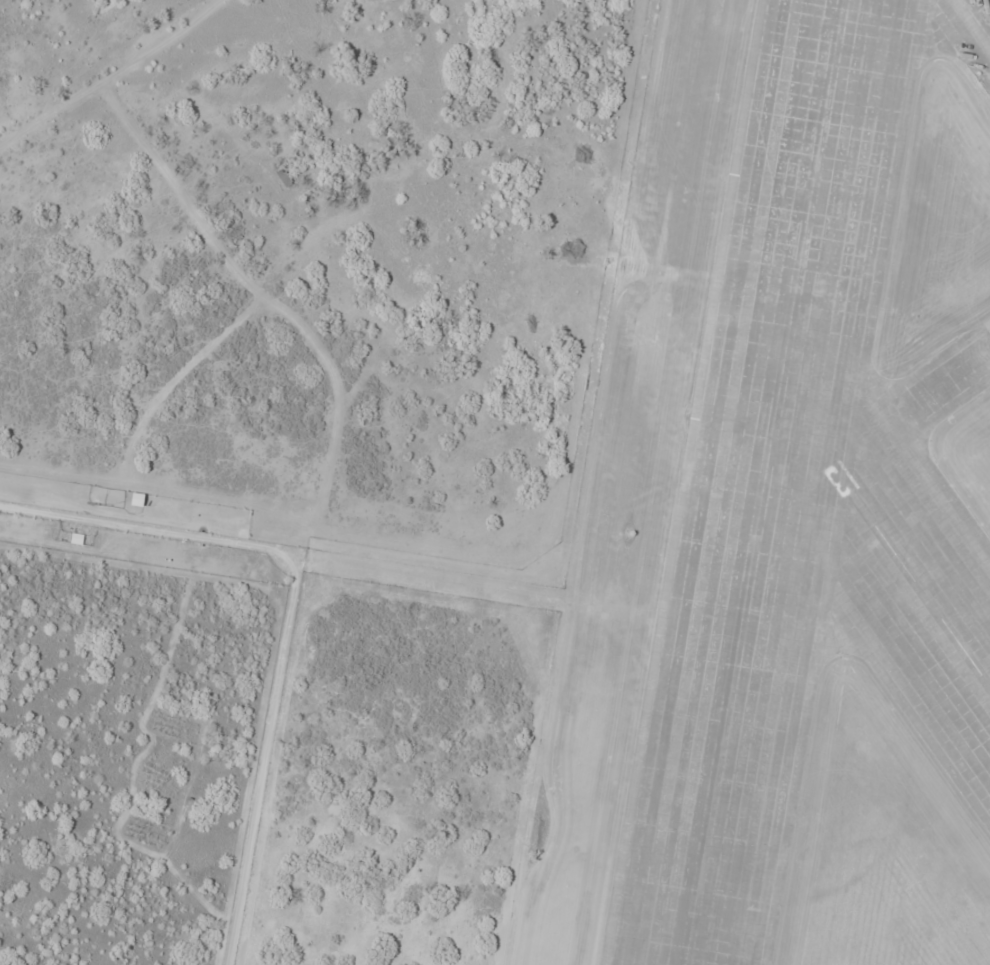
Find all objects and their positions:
airport taxiway: (971, 27)
building: (285, 178)
airport taxiway: (912, 409)
airport: (495, 482)
airport runway: (768, 482)
airport runway: (887, 536)
building: (77, 538)
building: (973, 777)

